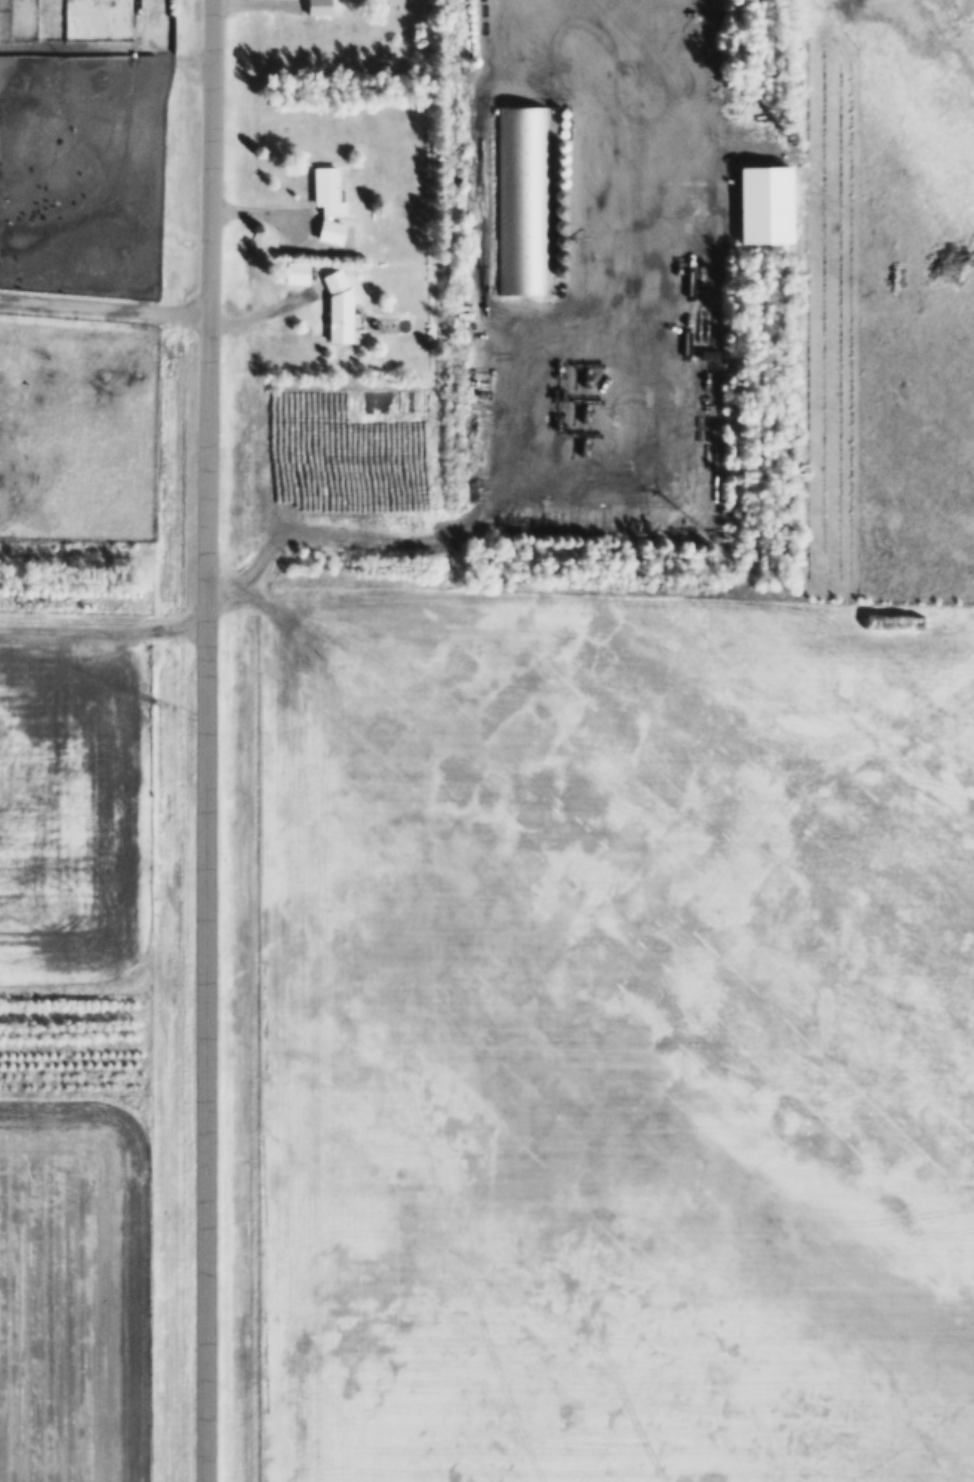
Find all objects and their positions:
building: (319, 7)
building: (156, 8)
road: (524, 43)
building: (329, 191)
building: (519, 196)
building: (339, 307)
building: (20, 318)
road: (203, 740)

